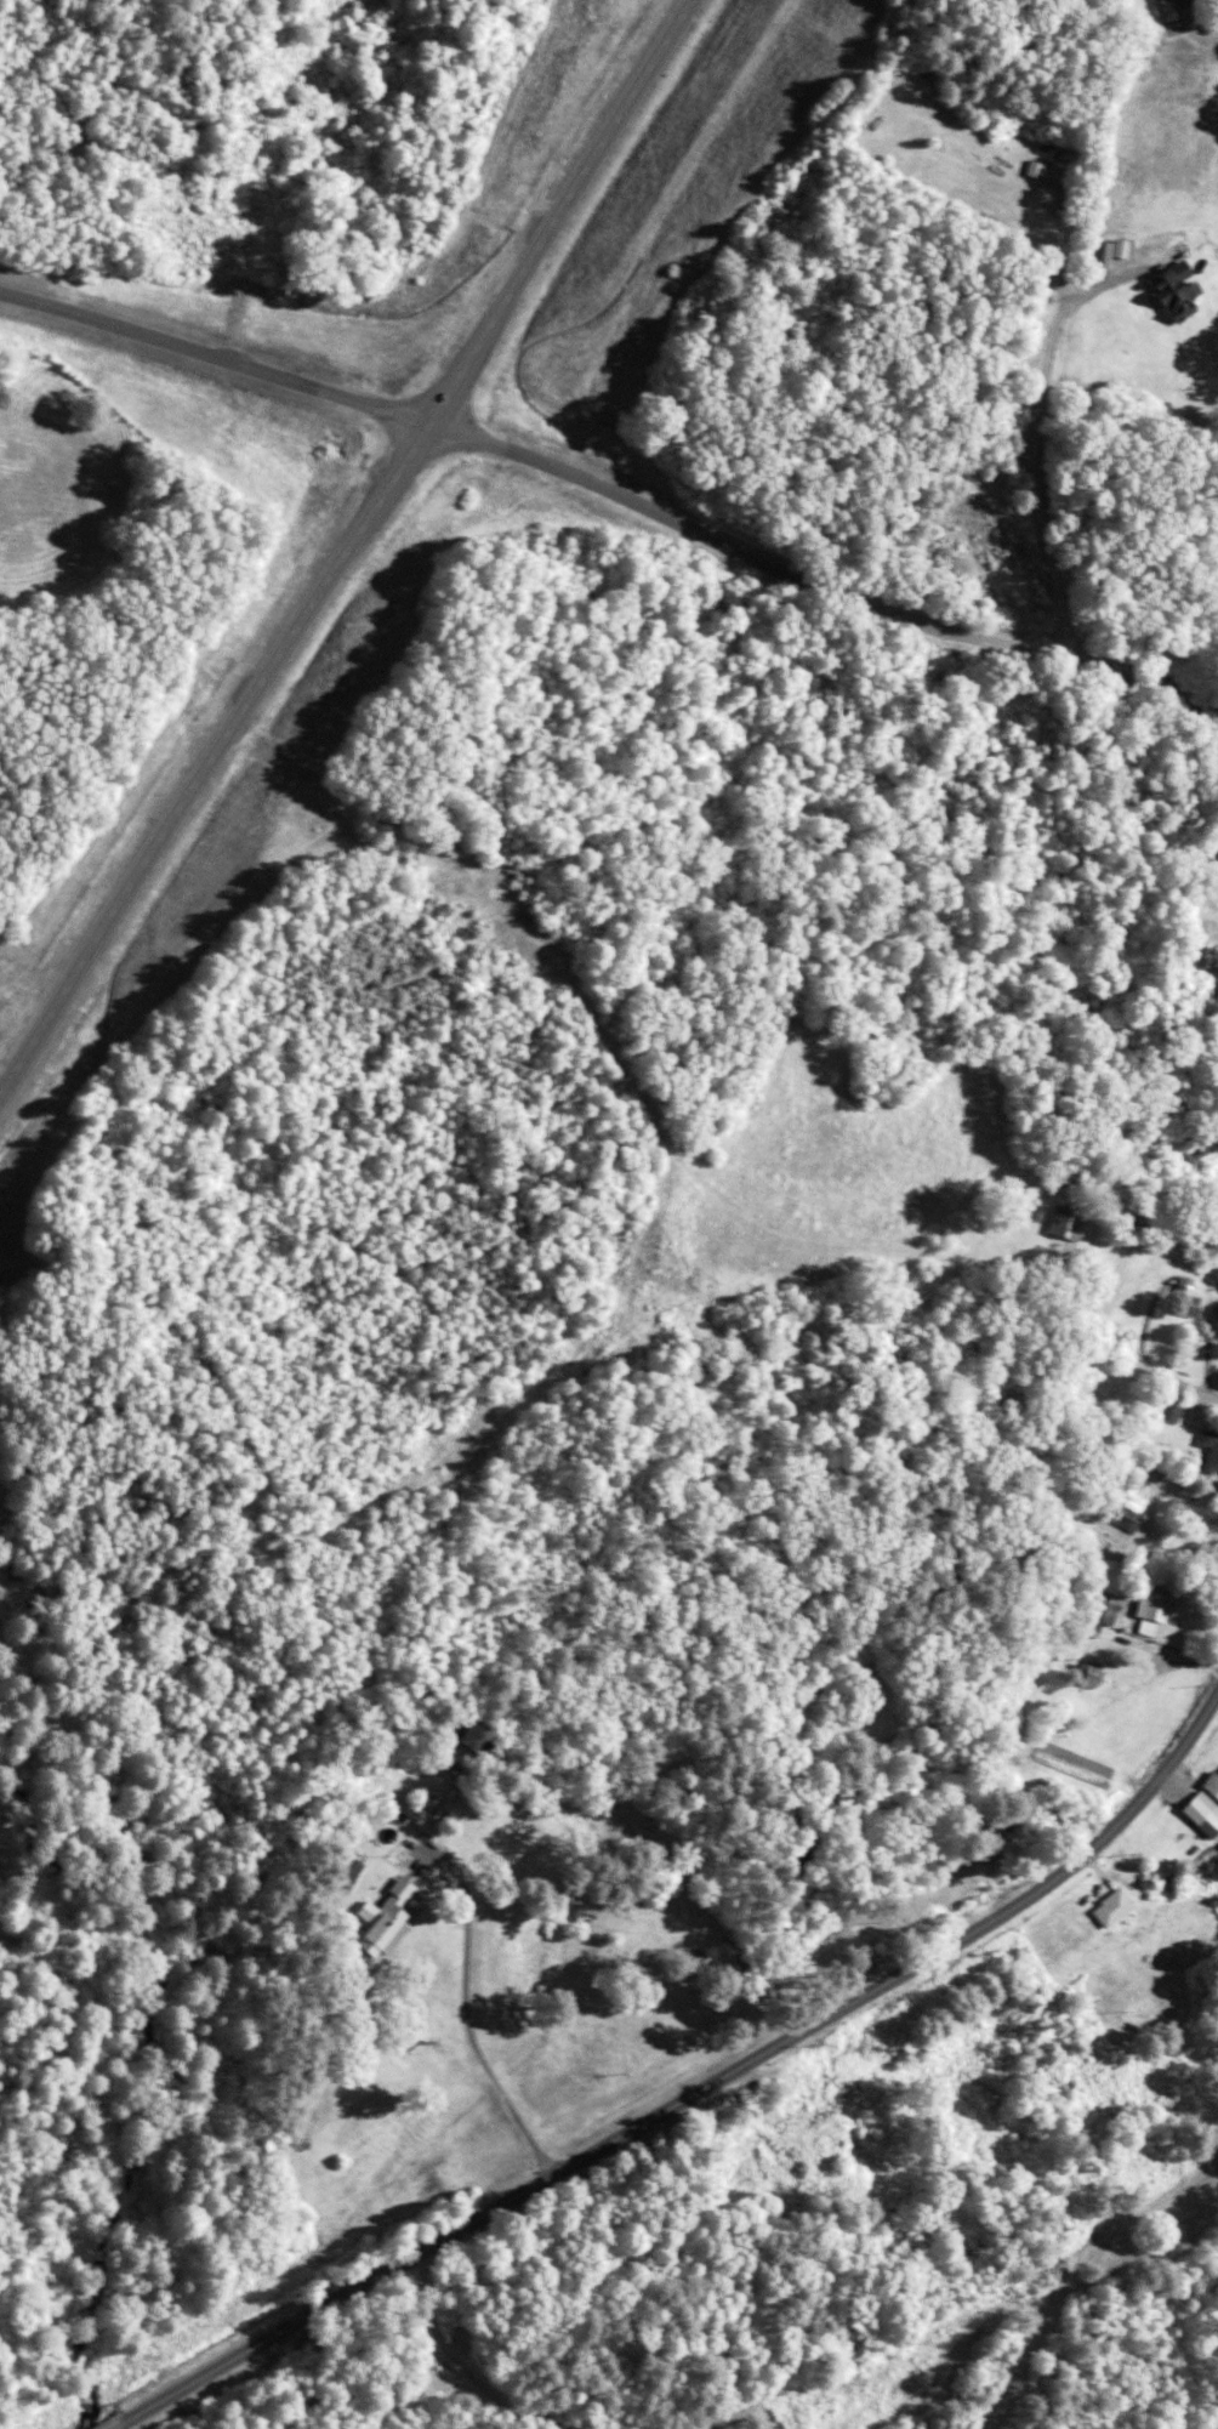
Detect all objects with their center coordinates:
building: (1150, 0)
building: (1180, 4)
building: (1167, 290)
road: (1043, 444)
road: (613, 495)
road: (348, 540)
building: (1057, 1225)
building: (1183, 1299)
road: (1085, 1320)
road: (1178, 1384)
building: (1216, 1384)
building: (1163, 1412)
building: (1208, 1450)
building: (1083, 1676)
building: (1212, 1785)
building: (1210, 1826)
building: (1109, 1908)
building: (371, 1918)
road: (469, 2020)
road: (776, 2043)
road: (201, 2376)
road: (425, 2384)
road: (115, 2427)

